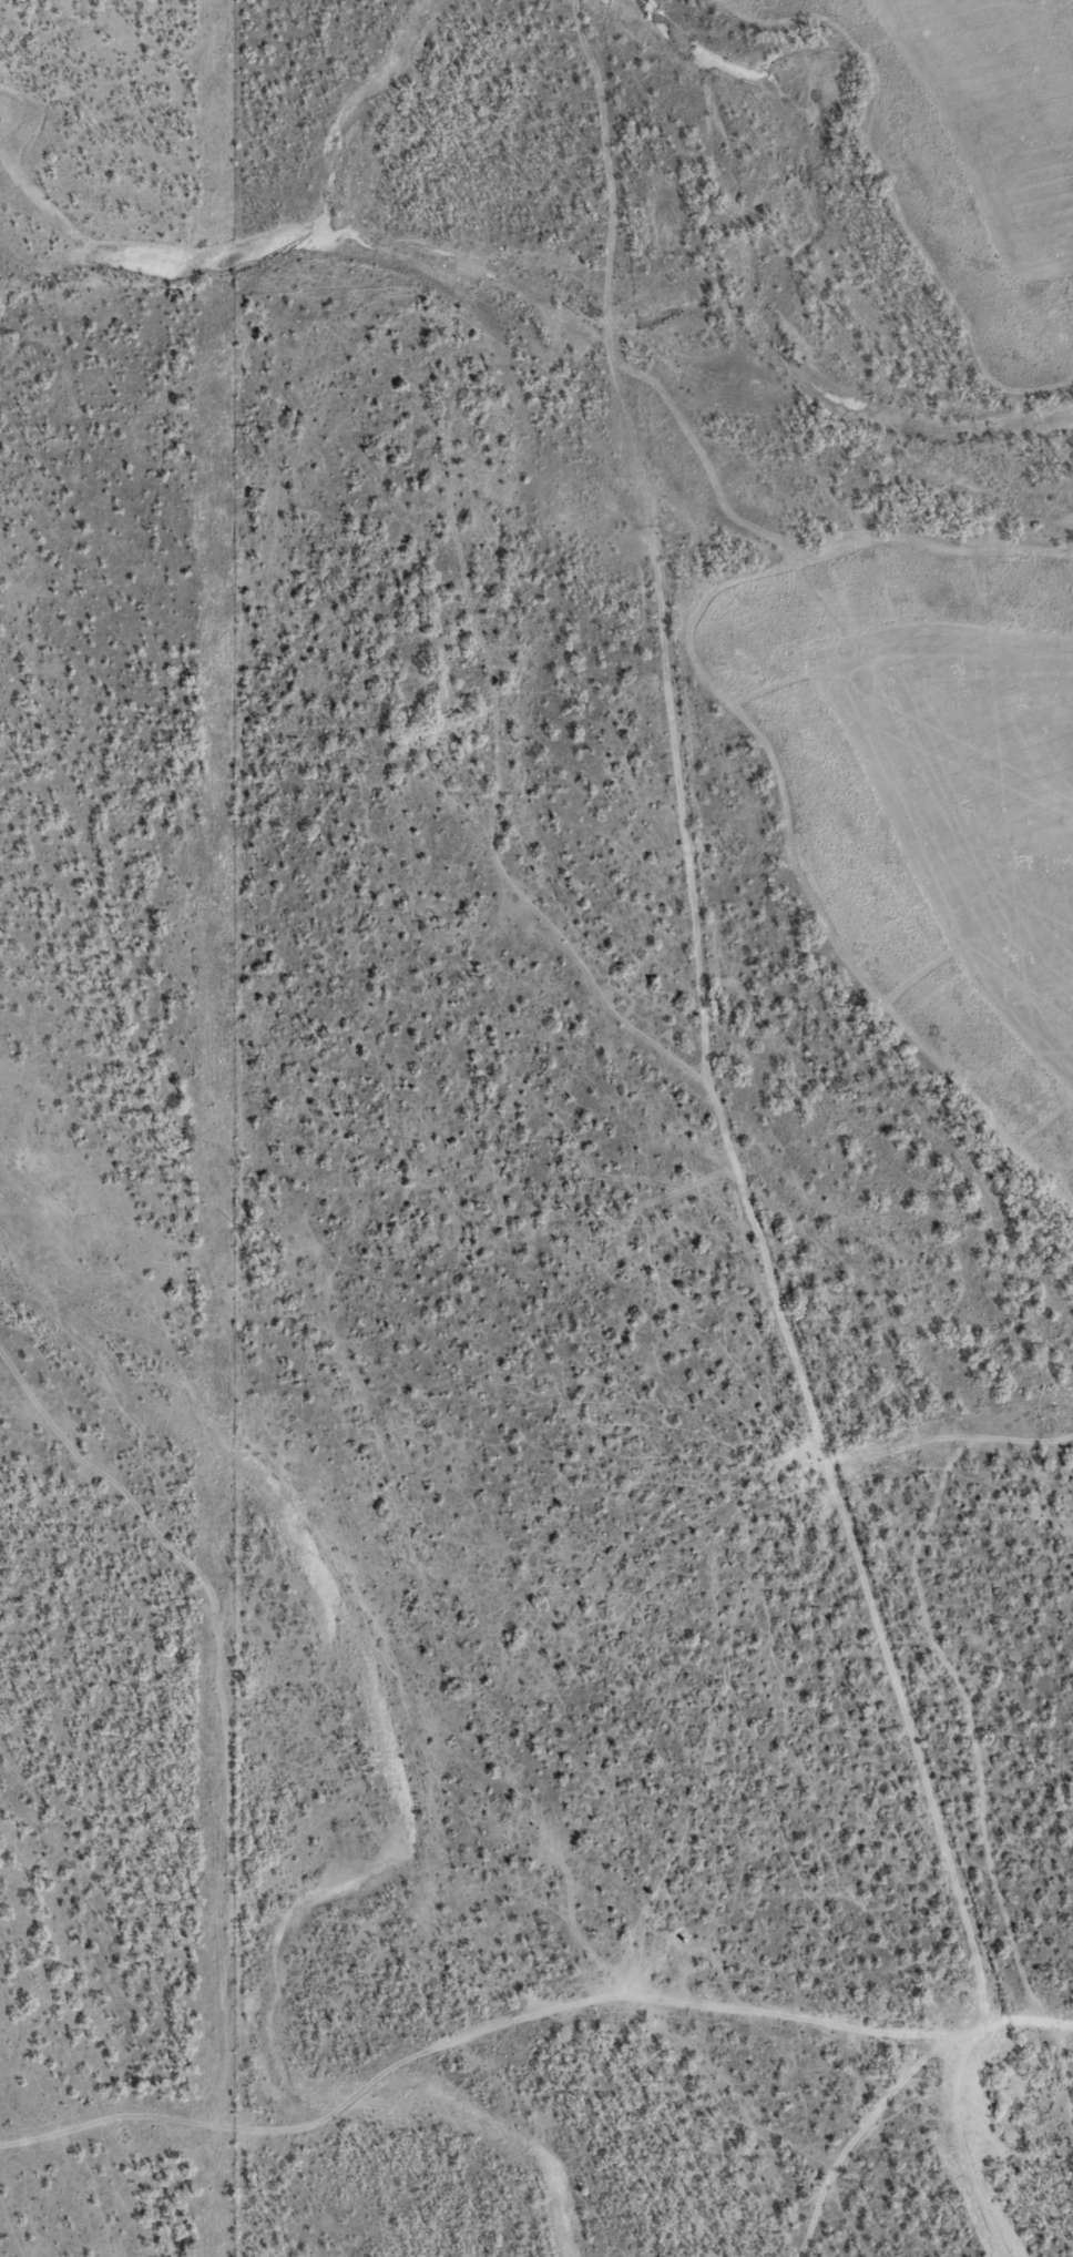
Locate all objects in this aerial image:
road: (503, 2013)
road: (927, 2157)

